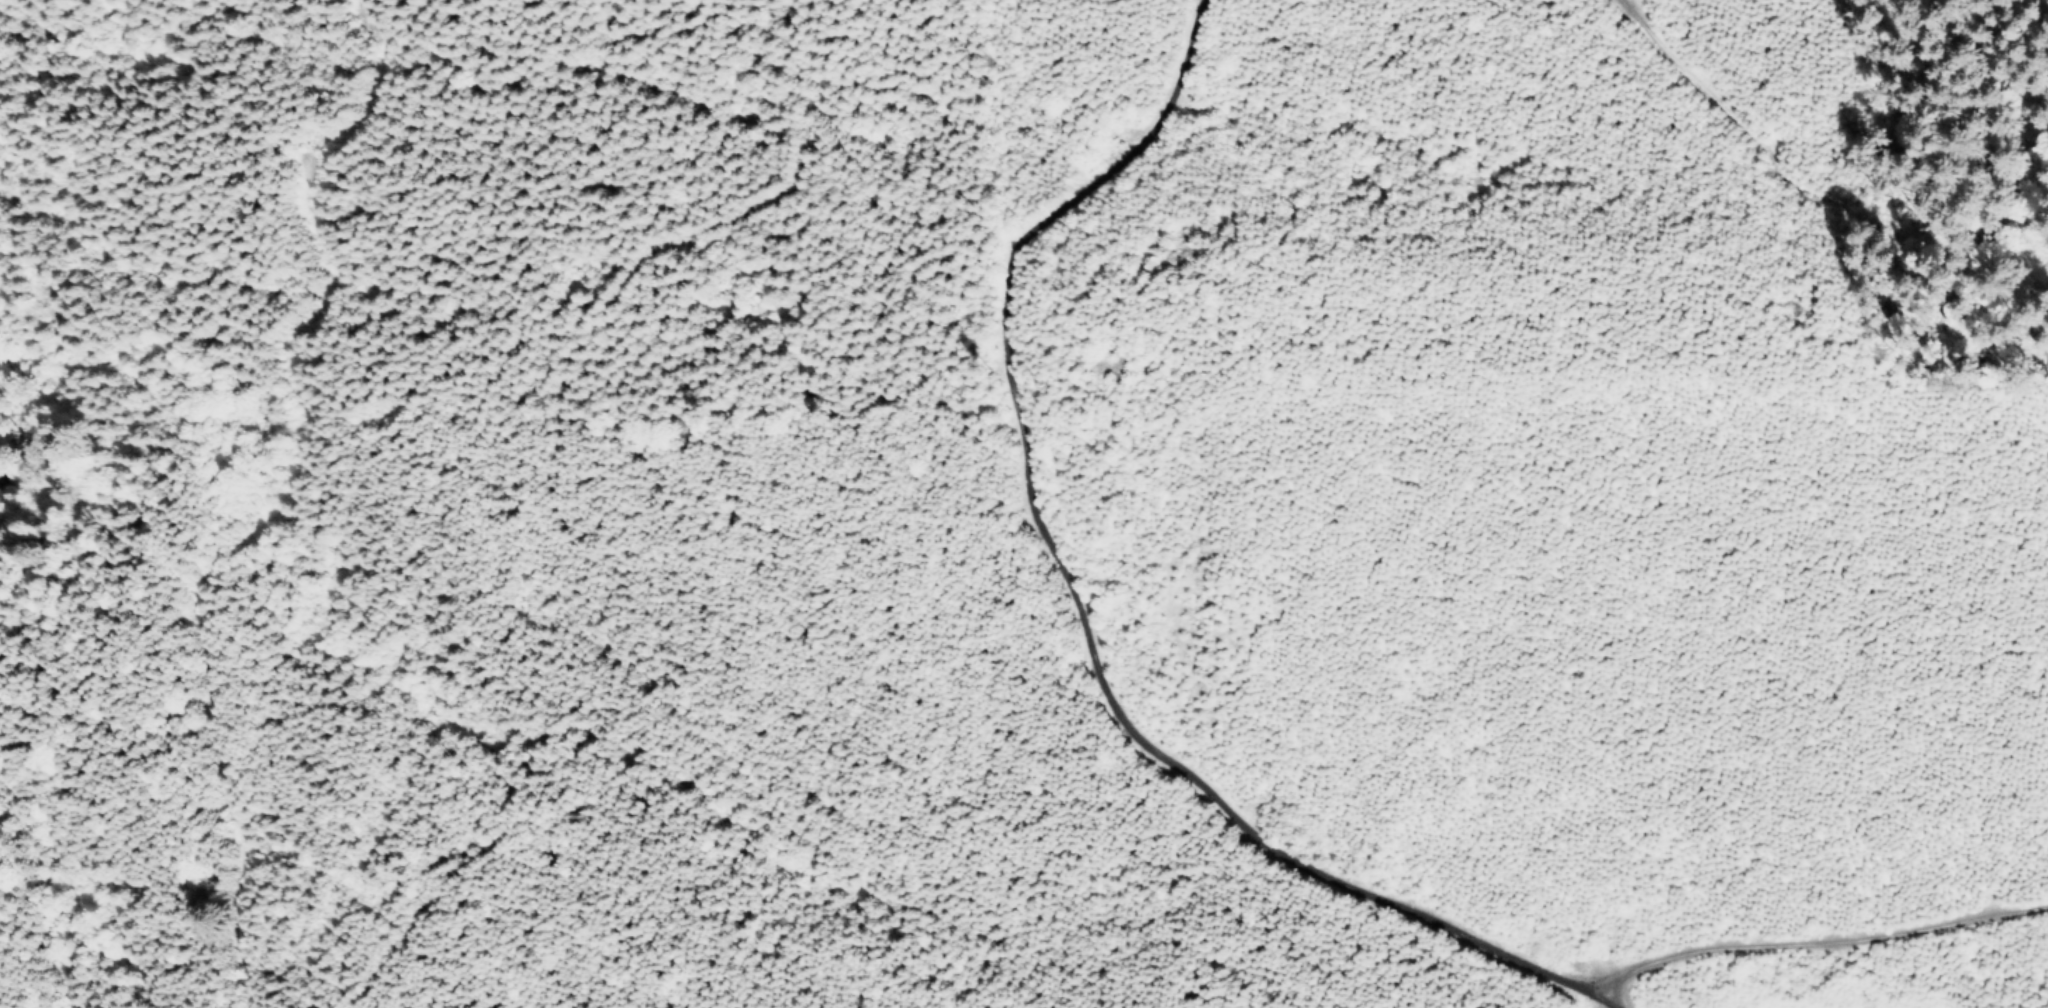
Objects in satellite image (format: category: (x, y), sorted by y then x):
road: (1496, 951)

